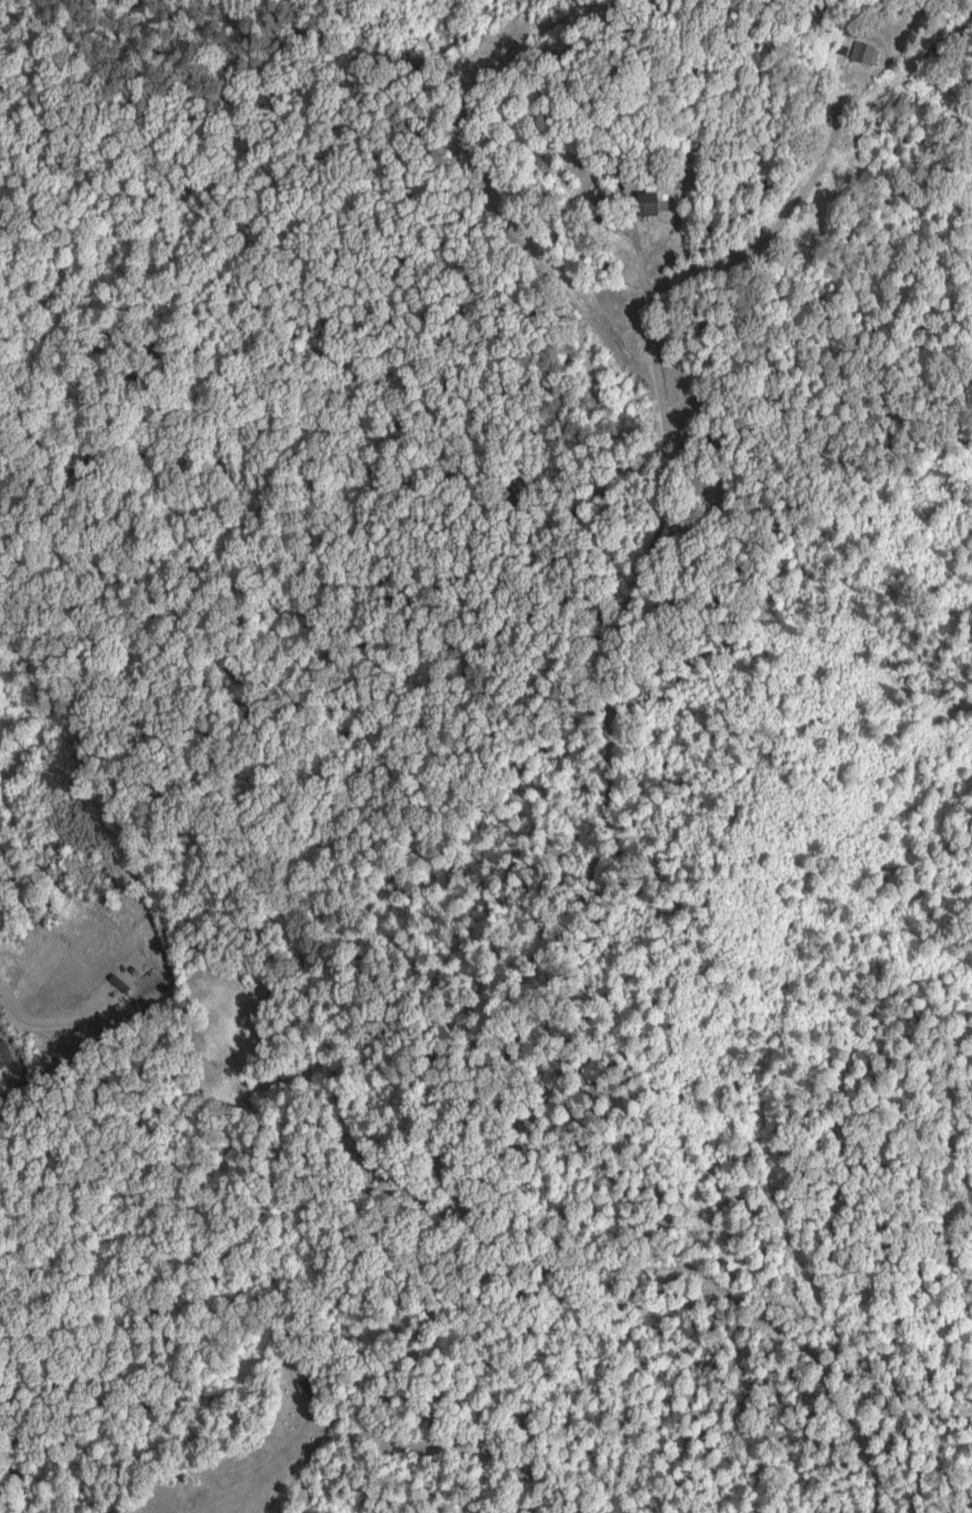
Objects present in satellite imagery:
building: (865, 52)
building: (650, 204)
road: (549, 837)
road: (216, 982)
building: (5, 1054)
building: (306, 1385)
road: (396, 1437)

